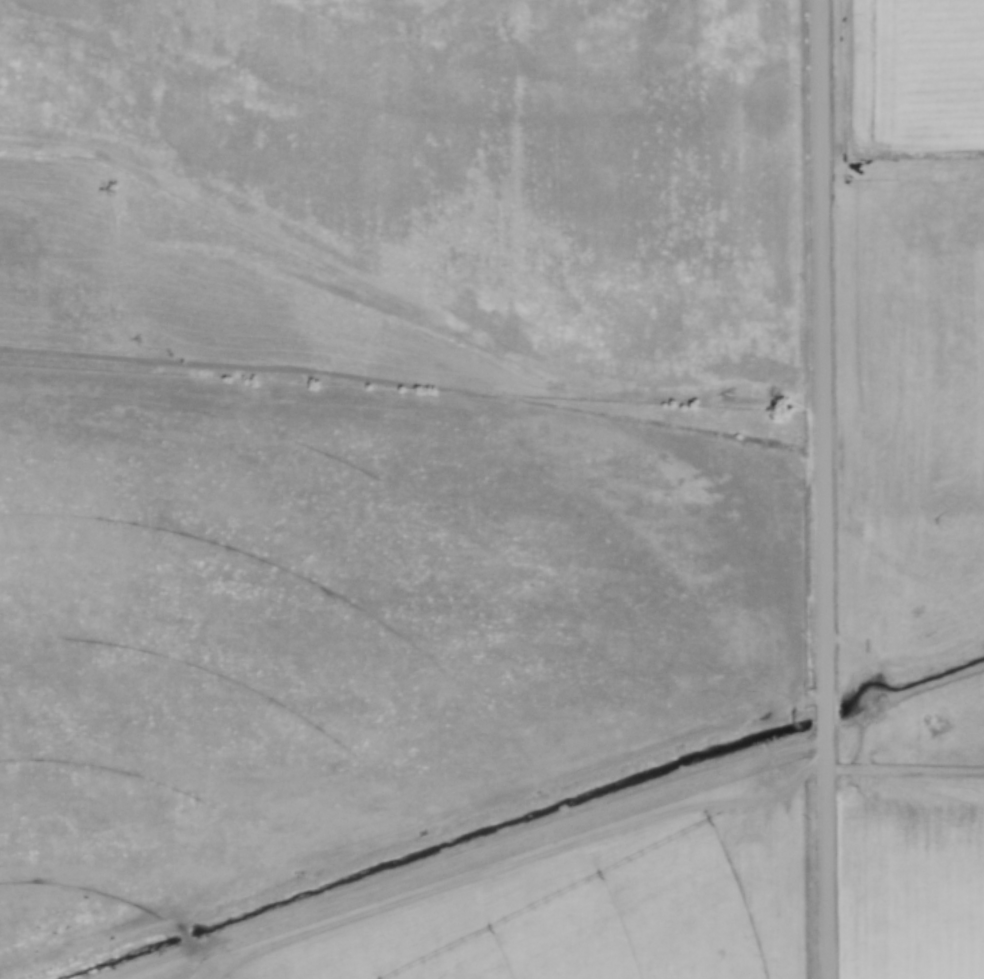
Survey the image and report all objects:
road: (828, 489)

